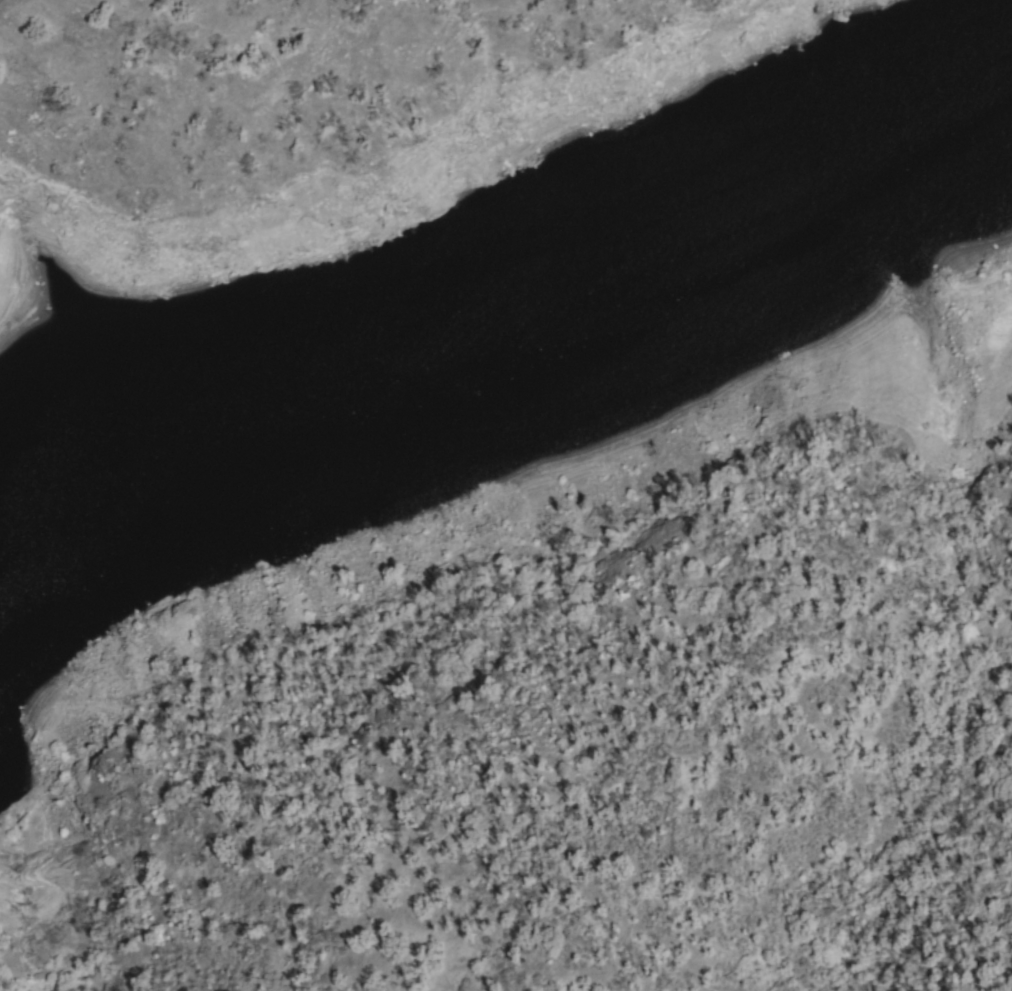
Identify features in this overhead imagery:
river: (980, 175)
river: (859, 205)
river: (695, 331)
river: (314, 424)
river: (37, 542)

